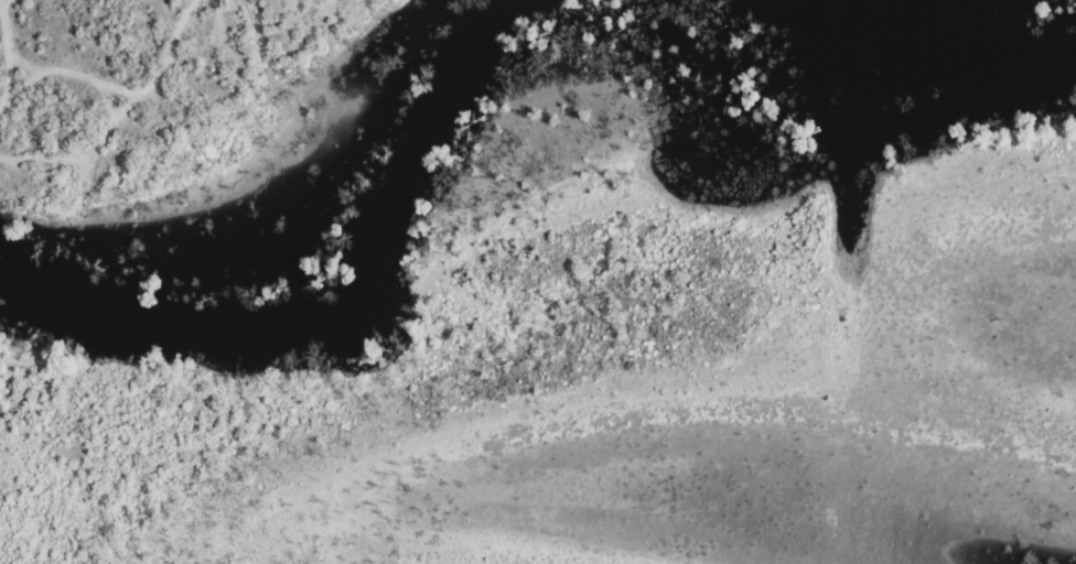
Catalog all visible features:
river: (960, 34)
river: (320, 297)

